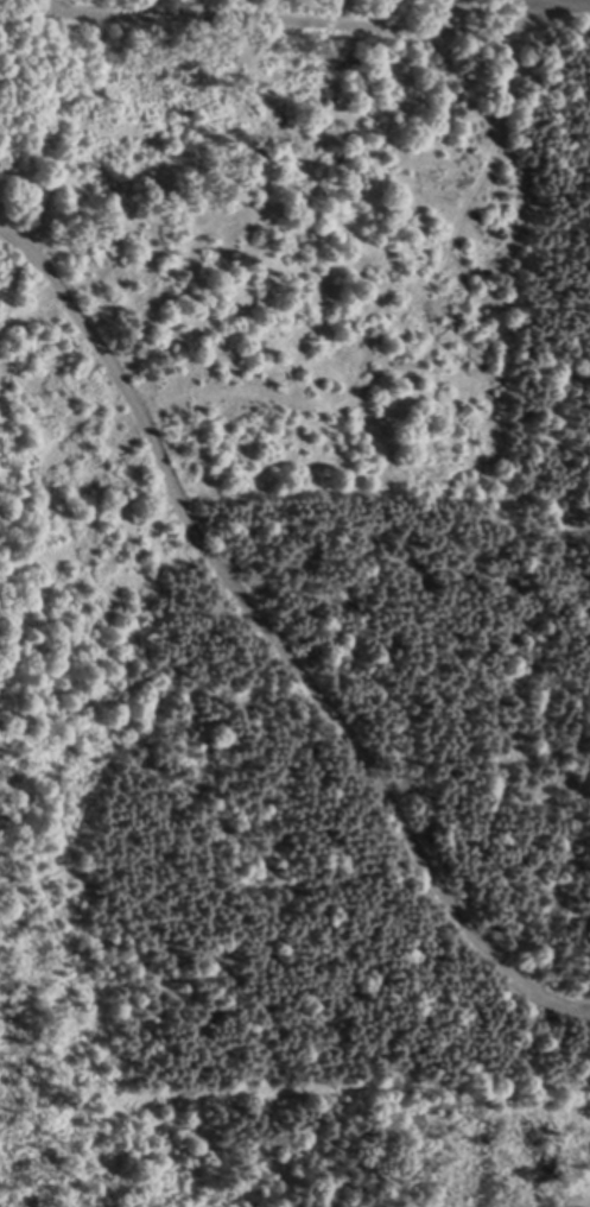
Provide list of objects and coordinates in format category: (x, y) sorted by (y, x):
road: (68, 7)
road: (348, 21)
road: (274, 636)

